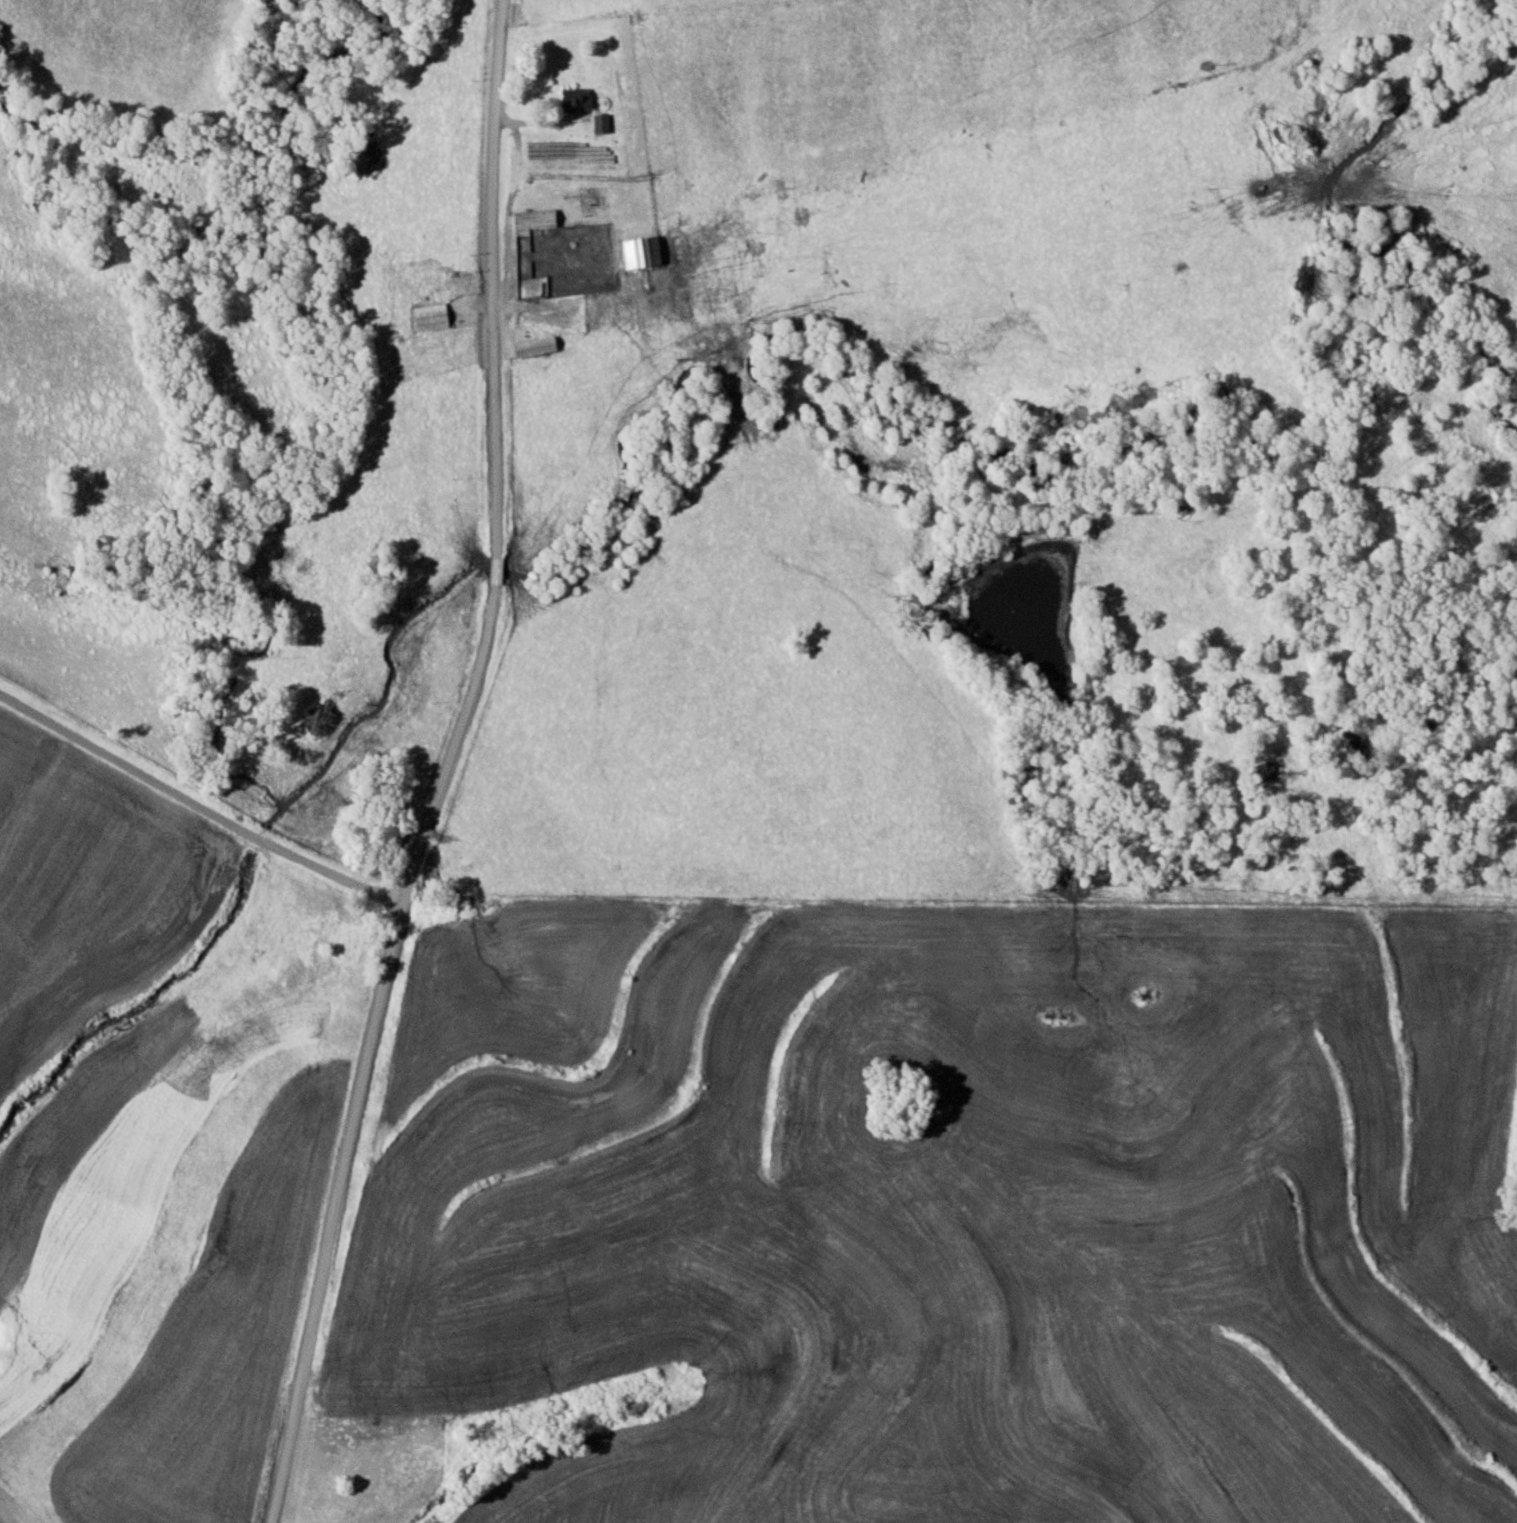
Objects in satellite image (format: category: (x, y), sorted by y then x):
building: (601, 24)
building: (578, 100)
building: (602, 125)
building: (537, 219)
building: (644, 252)
building: (432, 317)
building: (537, 347)
road: (443, 768)
road: (196, 806)
building: (353, 946)
road: (453, 1301)

